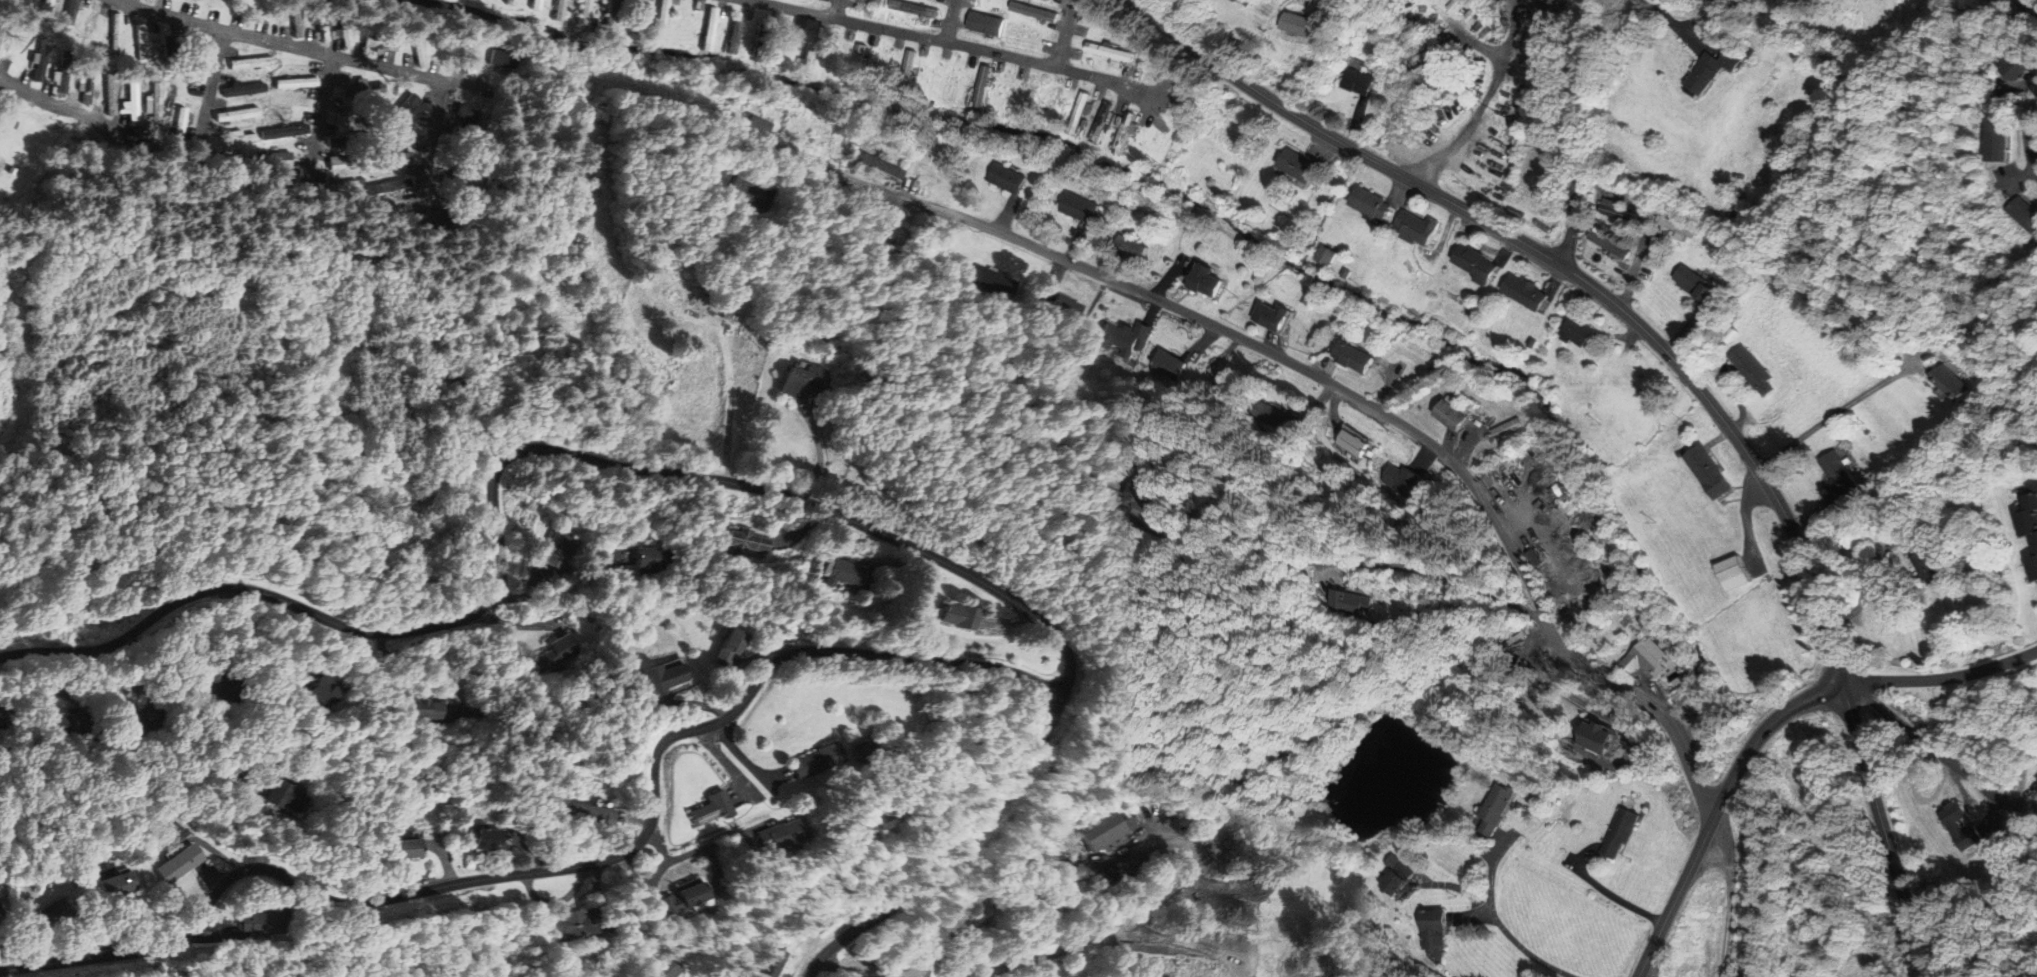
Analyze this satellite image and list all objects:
building: (1250, 1)
building: (510, 2)
building: (876, 2)
building: (46, 4)
building: (535, 4)
road: (1731, 4)
building: (914, 8)
building: (558, 10)
road: (837, 10)
building: (583, 11)
building: (1034, 11)
building: (70, 12)
building: (610, 12)
building: (635, 15)
building: (660, 17)
building: (295, 21)
road: (951, 21)
building: (986, 23)
building: (1299, 24)
road: (1675, 25)
building: (321, 27)
building: (709, 29)
building: (114, 30)
building: (344, 33)
building: (1, 36)
road: (1065, 36)
building: (734, 37)
building: (380, 39)
building: (759, 39)
building: (140, 40)
building: (728, 40)
building: (754, 40)
road: (947, 43)
building: (1112, 45)
road: (302, 47)
building: (167, 48)
building: (417, 49)
building: (809, 51)
building: (1109, 51)
building: (1751, 52)
building: (191, 59)
building: (465, 59)
building: (502, 59)
building: (39, 61)
building: (1117, 62)
building: (250, 63)
building: (1156, 64)
building: (2024, 65)
building: (857, 66)
building: (1371, 66)
building: (801, 69)
building: (1713, 70)
building: (908, 73)
building: (60, 81)
building: (86, 81)
building: (1359, 81)
building: (295, 83)
road: (212, 86)
building: (983, 87)
road: (1157, 87)
building: (243, 89)
building: (362, 90)
road: (2017, 90)
building: (109, 94)
building: (155, 100)
building: (131, 101)
road: (1149, 108)
building: (400, 111)
building: (1079, 113)
building: (236, 114)
building: (355, 114)
road: (322, 115)
building: (461, 119)
road: (98, 121)
building: (1102, 122)
building: (178, 125)
building: (283, 132)
road: (438, 132)
building: (1124, 132)
road: (1580, 132)
road: (2031, 137)
building: (237, 139)
building: (347, 140)
building: (2001, 140)
building: (1142, 146)
road: (2035, 154)
building: (274, 159)
road: (775, 161)
building: (339, 163)
building: (1301, 164)
building: (224, 165)
building: (880, 167)
road: (2016, 178)
building: (1011, 179)
road: (2012, 180)
building: (392, 185)
road: (1597, 185)
building: (1372, 202)
building: (1083, 208)
building: (2026, 211)
building: (1623, 214)
building: (1740, 218)
building: (1677, 226)
building: (1418, 227)
building: (1611, 244)
building: (1131, 248)
building: (1327, 256)
building: (1477, 264)
road: (1567, 269)
building: (1347, 273)
building: (1209, 282)
building: (1696, 284)
building: (1527, 293)
building: (1275, 317)
building: (1580, 330)
building: (1126, 339)
building: (1357, 359)
building: (1176, 367)
building: (1754, 369)
building: (803, 381)
building: (1226, 383)
building: (1950, 383)
road: (1377, 410)
building: (1455, 416)
building: (1360, 444)
road: (820, 459)
building: (1704, 473)
building: (1840, 475)
road: (1154, 529)
building: (2028, 530)
road: (803, 531)
building: (745, 541)
building: (557, 551)
building: (652, 558)
building: (1928, 567)
building: (847, 576)
building: (1731, 576)
road: (570, 593)
building: (1360, 604)
building: (961, 617)
road: (1009, 622)
road: (518, 625)
road: (270, 629)
building: (735, 647)
building: (554, 654)
road: (1070, 656)
building: (1652, 656)
building: (668, 676)
road: (1942, 680)
road: (38, 681)
road: (110, 681)
building: (326, 690)
road: (697, 705)
building: (422, 708)
building: (5, 718)
building: (869, 750)
road: (1938, 752)
road: (750, 760)
building: (824, 760)
road: (728, 766)
building: (1502, 808)
building: (715, 809)
road: (1719, 810)
building: (588, 815)
building: (1954, 816)
road: (635, 819)
building: (886, 819)
building: (1105, 830)
road: (1885, 831)
building: (1634, 832)
building: (784, 835)
building: (491, 837)
road: (1168, 839)
road: (719, 841)
building: (420, 847)
road: (530, 854)
road: (954, 857)
road: (444, 859)
building: (189, 863)
road: (212, 874)
road: (657, 875)
building: (1405, 875)
building: (127, 885)
road: (559, 901)
building: (681, 901)
building: (58, 911)
road: (99, 919)
building: (270, 921)
building: (580, 924)
road: (1503, 930)
building: (1441, 932)
road: (1102, 935)
road: (215, 937)
road: (30, 946)
road: (17, 957)
building: (774, 961)
building: (670, 968)
road: (845, 968)
road: (1644, 973)

